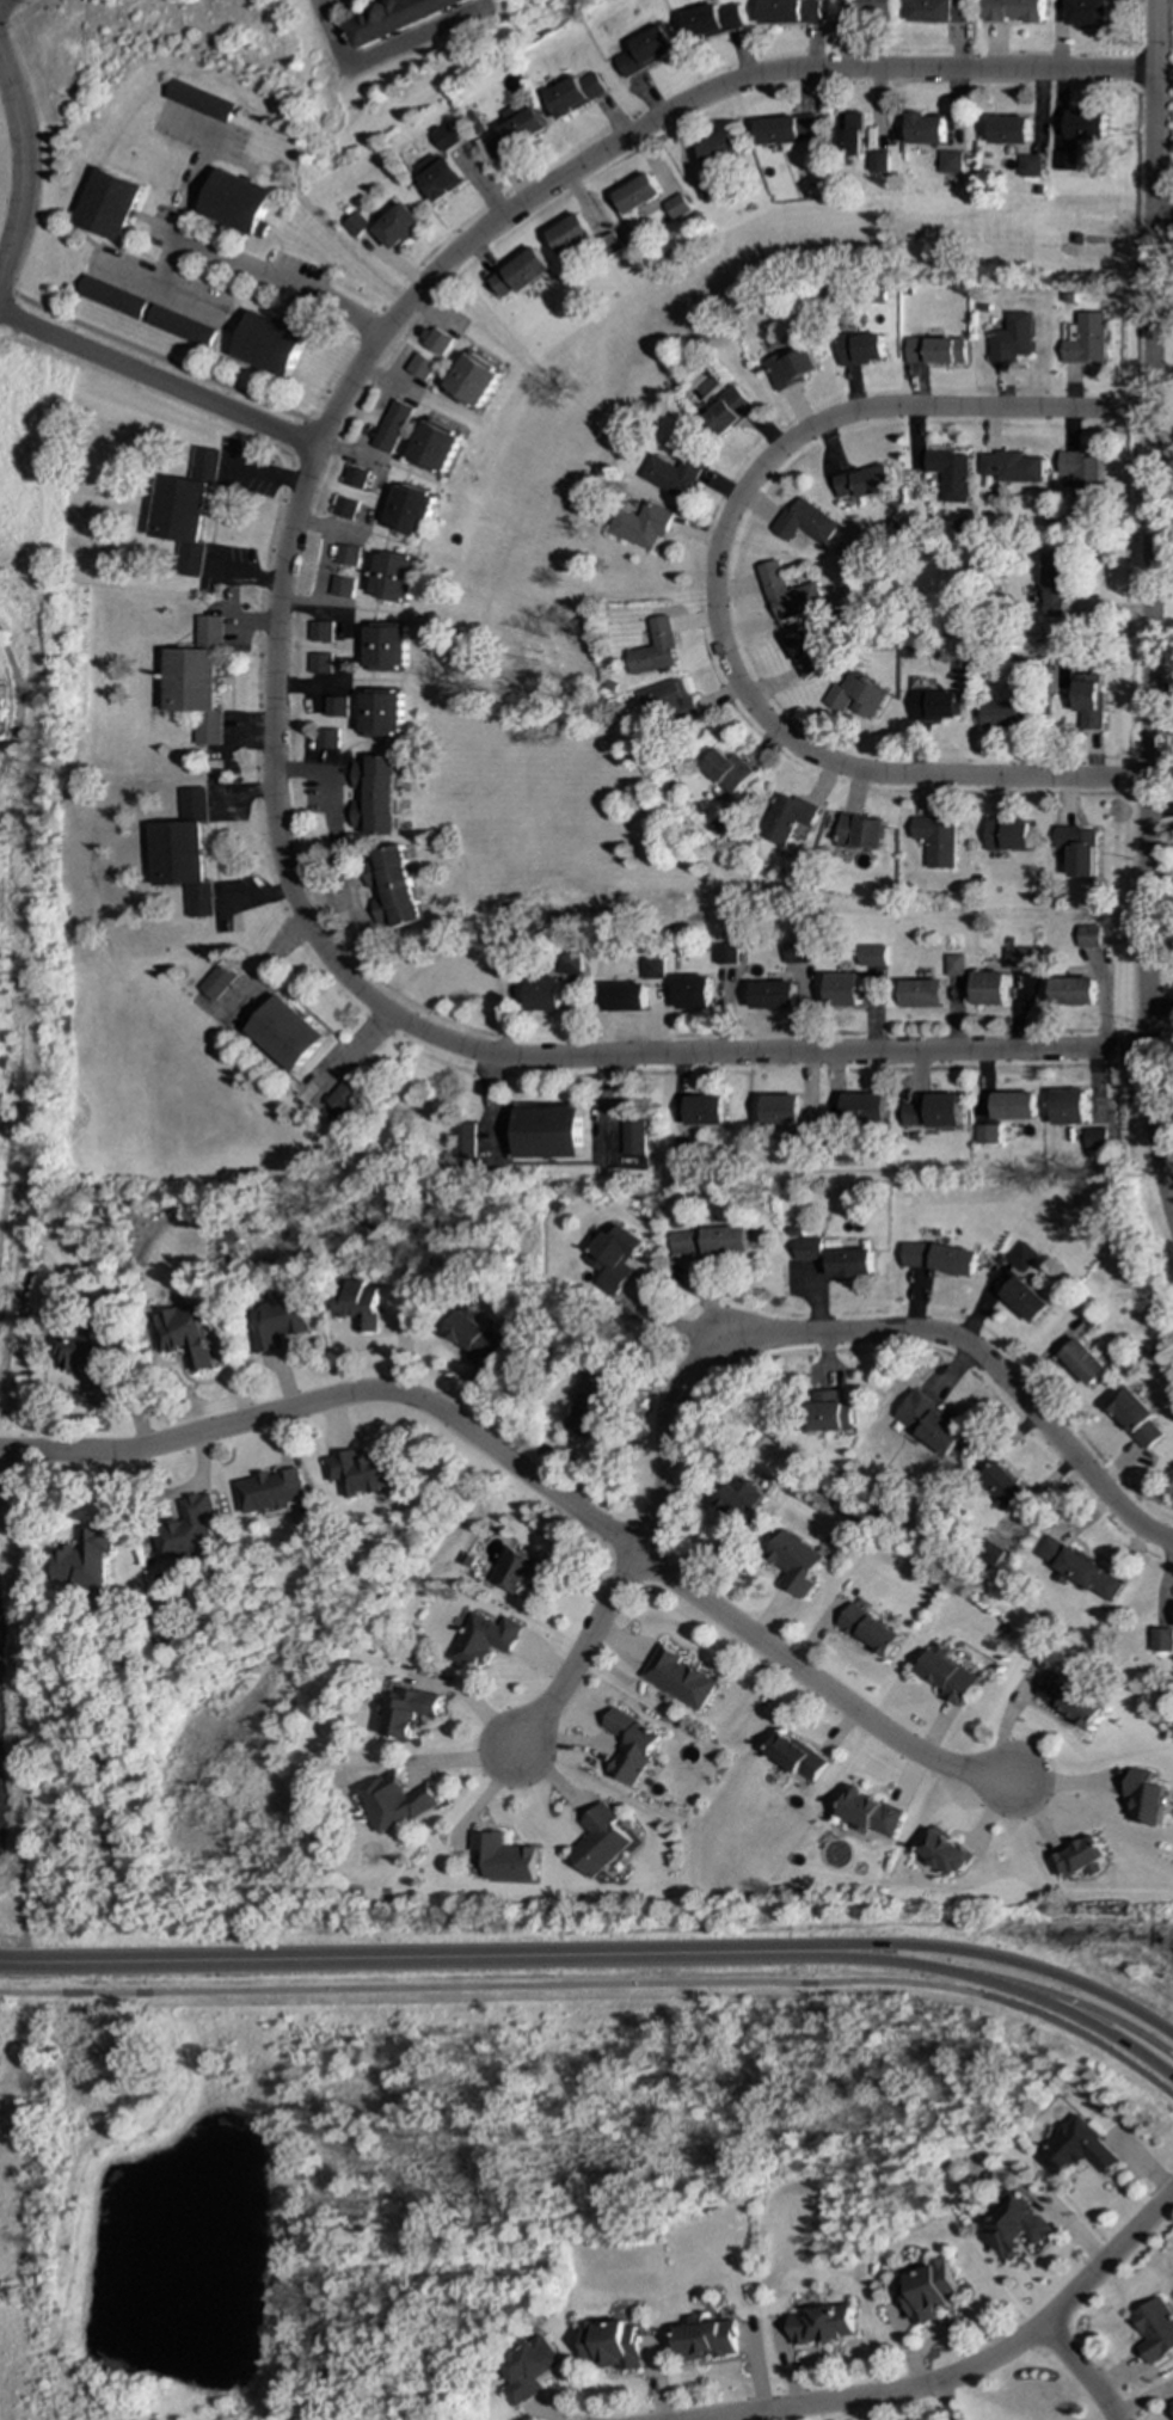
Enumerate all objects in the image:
building: (865, 7)
building: (788, 11)
building: (938, 11)
building: (1015, 11)
road: (22, 12)
building: (1087, 12)
building: (395, 18)
building: (710, 20)
building: (644, 51)
road: (385, 53)
building: (573, 93)
building: (195, 100)
building: (1087, 125)
building: (514, 129)
building: (785, 129)
building: (926, 129)
building: (1009, 130)
building: (849, 134)
building: (718, 148)
building: (1065, 160)
building: (878, 161)
building: (951, 162)
road: (20, 164)
building: (1031, 166)
building: (436, 176)
building: (706, 188)
building: (637, 194)
building: (235, 202)
building: (106, 204)
building: (676, 207)
road: (1162, 214)
building: (355, 225)
building: (397, 226)
building: (570, 234)
building: (610, 242)
road: (213, 250)
building: (518, 272)
road: (156, 282)
building: (110, 296)
building: (179, 326)
building: (1012, 338)
building: (1086, 338)
building: (436, 342)
building: (268, 344)
building: (859, 349)
building: (935, 350)
building: (419, 367)
building: (788, 368)
road: (158, 380)
building: (471, 380)
building: (726, 412)
building: (389, 426)
building: (432, 447)
road: (349, 453)
building: (1011, 466)
building: (948, 473)
building: (669, 474)
building: (1081, 475)
building: (352, 477)
building: (861, 481)
building: (342, 506)
building: (407, 510)
building: (184, 511)
building: (804, 522)
building: (639, 524)
building: (344, 555)
building: (391, 576)
building: (1055, 582)
building: (339, 586)
road: (711, 590)
building: (786, 594)
road: (1149, 609)
building: (319, 631)
road: (274, 635)
building: (385, 646)
building: (652, 649)
building: (805, 652)
building: (318, 663)
building: (196, 680)
building: (854, 696)
building: (1088, 700)
building: (664, 704)
road: (12, 705)
building: (933, 705)
building: (333, 706)
building: (380, 712)
building: (1000, 714)
building: (326, 738)
building: (726, 769)
building: (374, 794)
building: (786, 817)
building: (860, 831)
building: (1008, 834)
building: (936, 840)
building: (1079, 849)
building: (183, 853)
road: (1161, 861)
building: (391, 887)
building: (1088, 935)
building: (797, 952)
building: (724, 953)
building: (872, 956)
building: (1018, 957)
building: (566, 963)
building: (953, 965)
building: (651, 968)
building: (216, 981)
building: (989, 988)
building: (843, 990)
building: (1073, 991)
building: (693, 993)
building: (543, 994)
building: (922, 994)
building: (773, 995)
building: (624, 997)
building: (284, 1033)
building: (344, 1094)
building: (1013, 1105)
building: (864, 1107)
building: (1069, 1107)
building: (781, 1110)
building: (944, 1110)
building: (706, 1111)
building: (910, 1114)
building: (551, 1132)
building: (985, 1134)
building: (634, 1137)
building: (1095, 1140)
building: (466, 1143)
building: (708, 1241)
building: (807, 1248)
building: (1021, 1257)
building: (615, 1258)
building: (938, 1258)
building: (849, 1263)
building: (1025, 1300)
building: (358, 1303)
building: (276, 1322)
building: (184, 1335)
road: (754, 1335)
building: (474, 1338)
building: (86, 1353)
building: (1083, 1362)
building: (592, 1405)
building: (828, 1412)
building: (1134, 1415)
building: (929, 1421)
building: (361, 1472)
road: (533, 1474)
building: (1002, 1484)
building: (271, 1491)
building: (738, 1498)
building: (188, 1529)
building: (988, 1554)
building: (84, 1560)
building: (794, 1562)
building: (1079, 1570)
building: (521, 1572)
building: (868, 1630)
building: (484, 1640)
building: (1161, 1640)
building: (948, 1676)
building: (678, 1677)
building: (1069, 1701)
building: (409, 1712)
building: (630, 1745)
building: (797, 1757)
building: (1146, 1796)
building: (395, 1801)
building: (872, 1813)
building: (601, 1841)
building: (945, 1853)
building: (504, 1857)
building: (1079, 1859)
road: (392, 1957)
road: (987, 1957)
road: (989, 1980)
road: (600, 1985)
road: (1069, 2000)
park: (145, 2143)
building: (1076, 2149)
building: (1014, 2228)
building: (929, 2291)
building: (822, 2324)
building: (1155, 2329)
building: (708, 2339)
building: (614, 2345)
building: (532, 2369)
road: (968, 2369)
road: (1081, 2370)
building: (1172, 2402)

